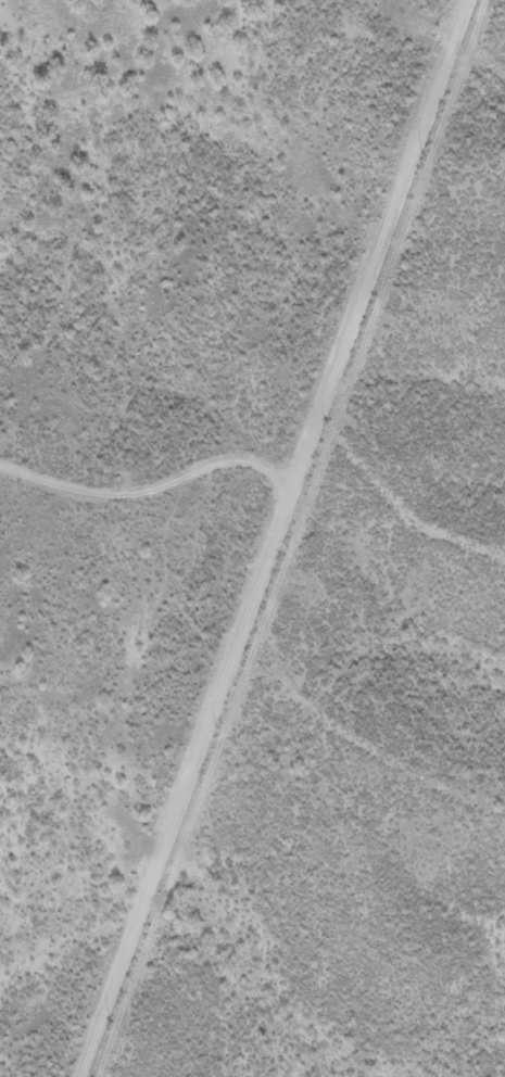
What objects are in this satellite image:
road: (285, 538)

